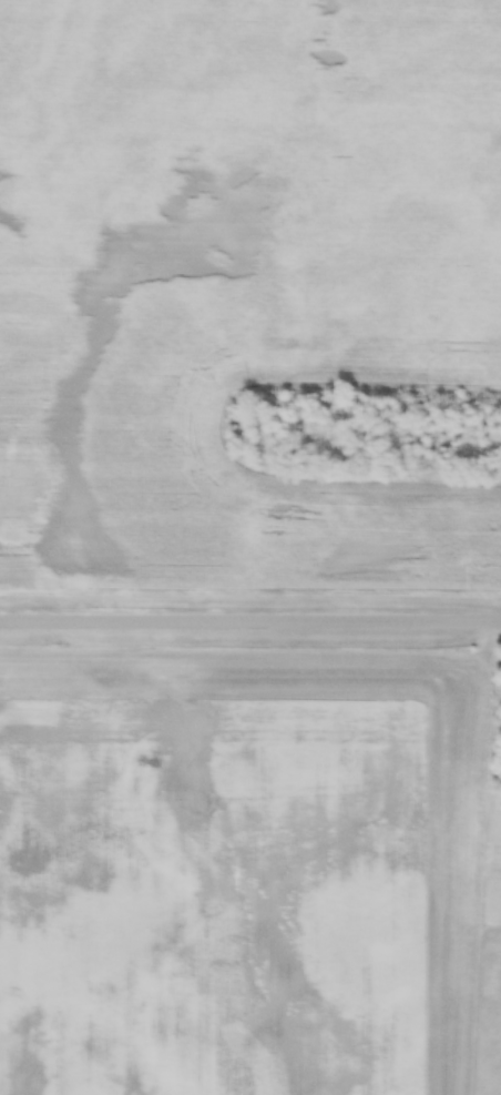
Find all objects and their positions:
road: (250, 620)

